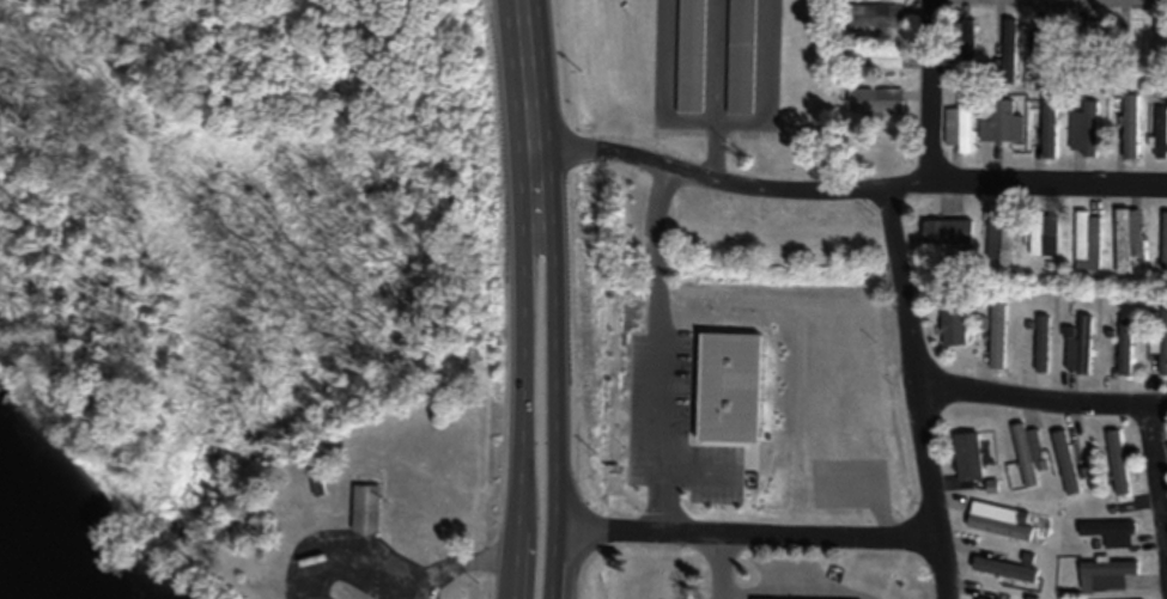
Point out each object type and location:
building: (877, 17)
building: (1088, 36)
building: (965, 42)
building: (1161, 42)
building: (1005, 50)
building: (876, 55)
building: (1045, 55)
building: (692, 56)
building: (742, 57)
road: (525, 75)
road: (934, 88)
building: (875, 102)
road: (667, 108)
building: (1002, 123)
building: (959, 127)
building: (1131, 127)
building: (1086, 128)
building: (1050, 129)
building: (1161, 133)
road: (1049, 179)
road: (729, 181)
building: (948, 232)
building: (1045, 237)
building: (1129, 239)
building: (1088, 240)
building: (1001, 242)
building: (1165, 242)
building: (954, 323)
building: (998, 335)
building: (1043, 343)
building: (1125, 347)
building: (1161, 347)
building: (1080, 348)
road: (553, 373)
road: (519, 374)
road: (914, 390)
road: (1039, 397)
building: (1028, 452)
building: (968, 456)
building: (1066, 463)
building: (1118, 463)
road: (1156, 481)
building: (367, 509)
building: (1001, 527)
road: (748, 531)
building: (1112, 532)
road: (452, 562)
road: (719, 564)
building: (1004, 569)
building: (1106, 574)
river: (6, 589)
building: (759, 598)
building: (980, 598)

